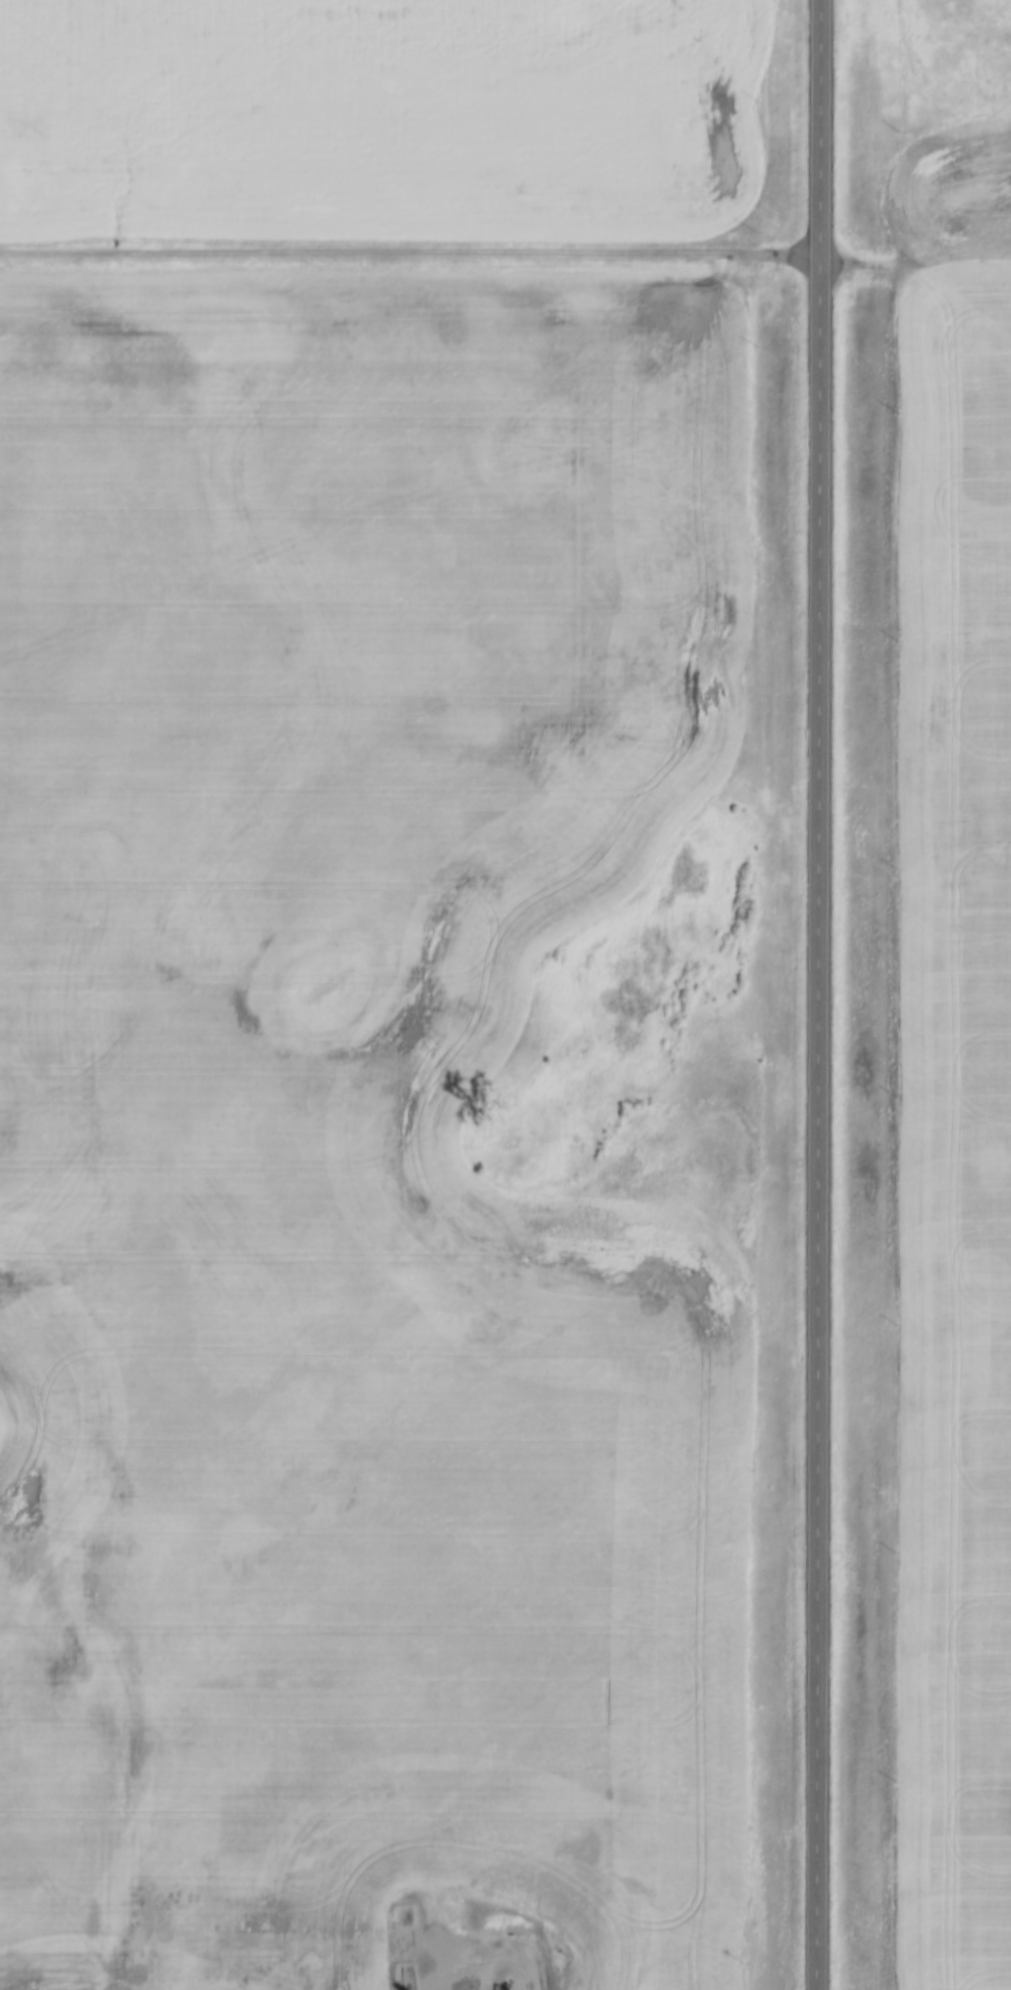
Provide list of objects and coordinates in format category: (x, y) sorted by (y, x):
road: (408, 252)
road: (815, 995)
road: (460, 1971)

